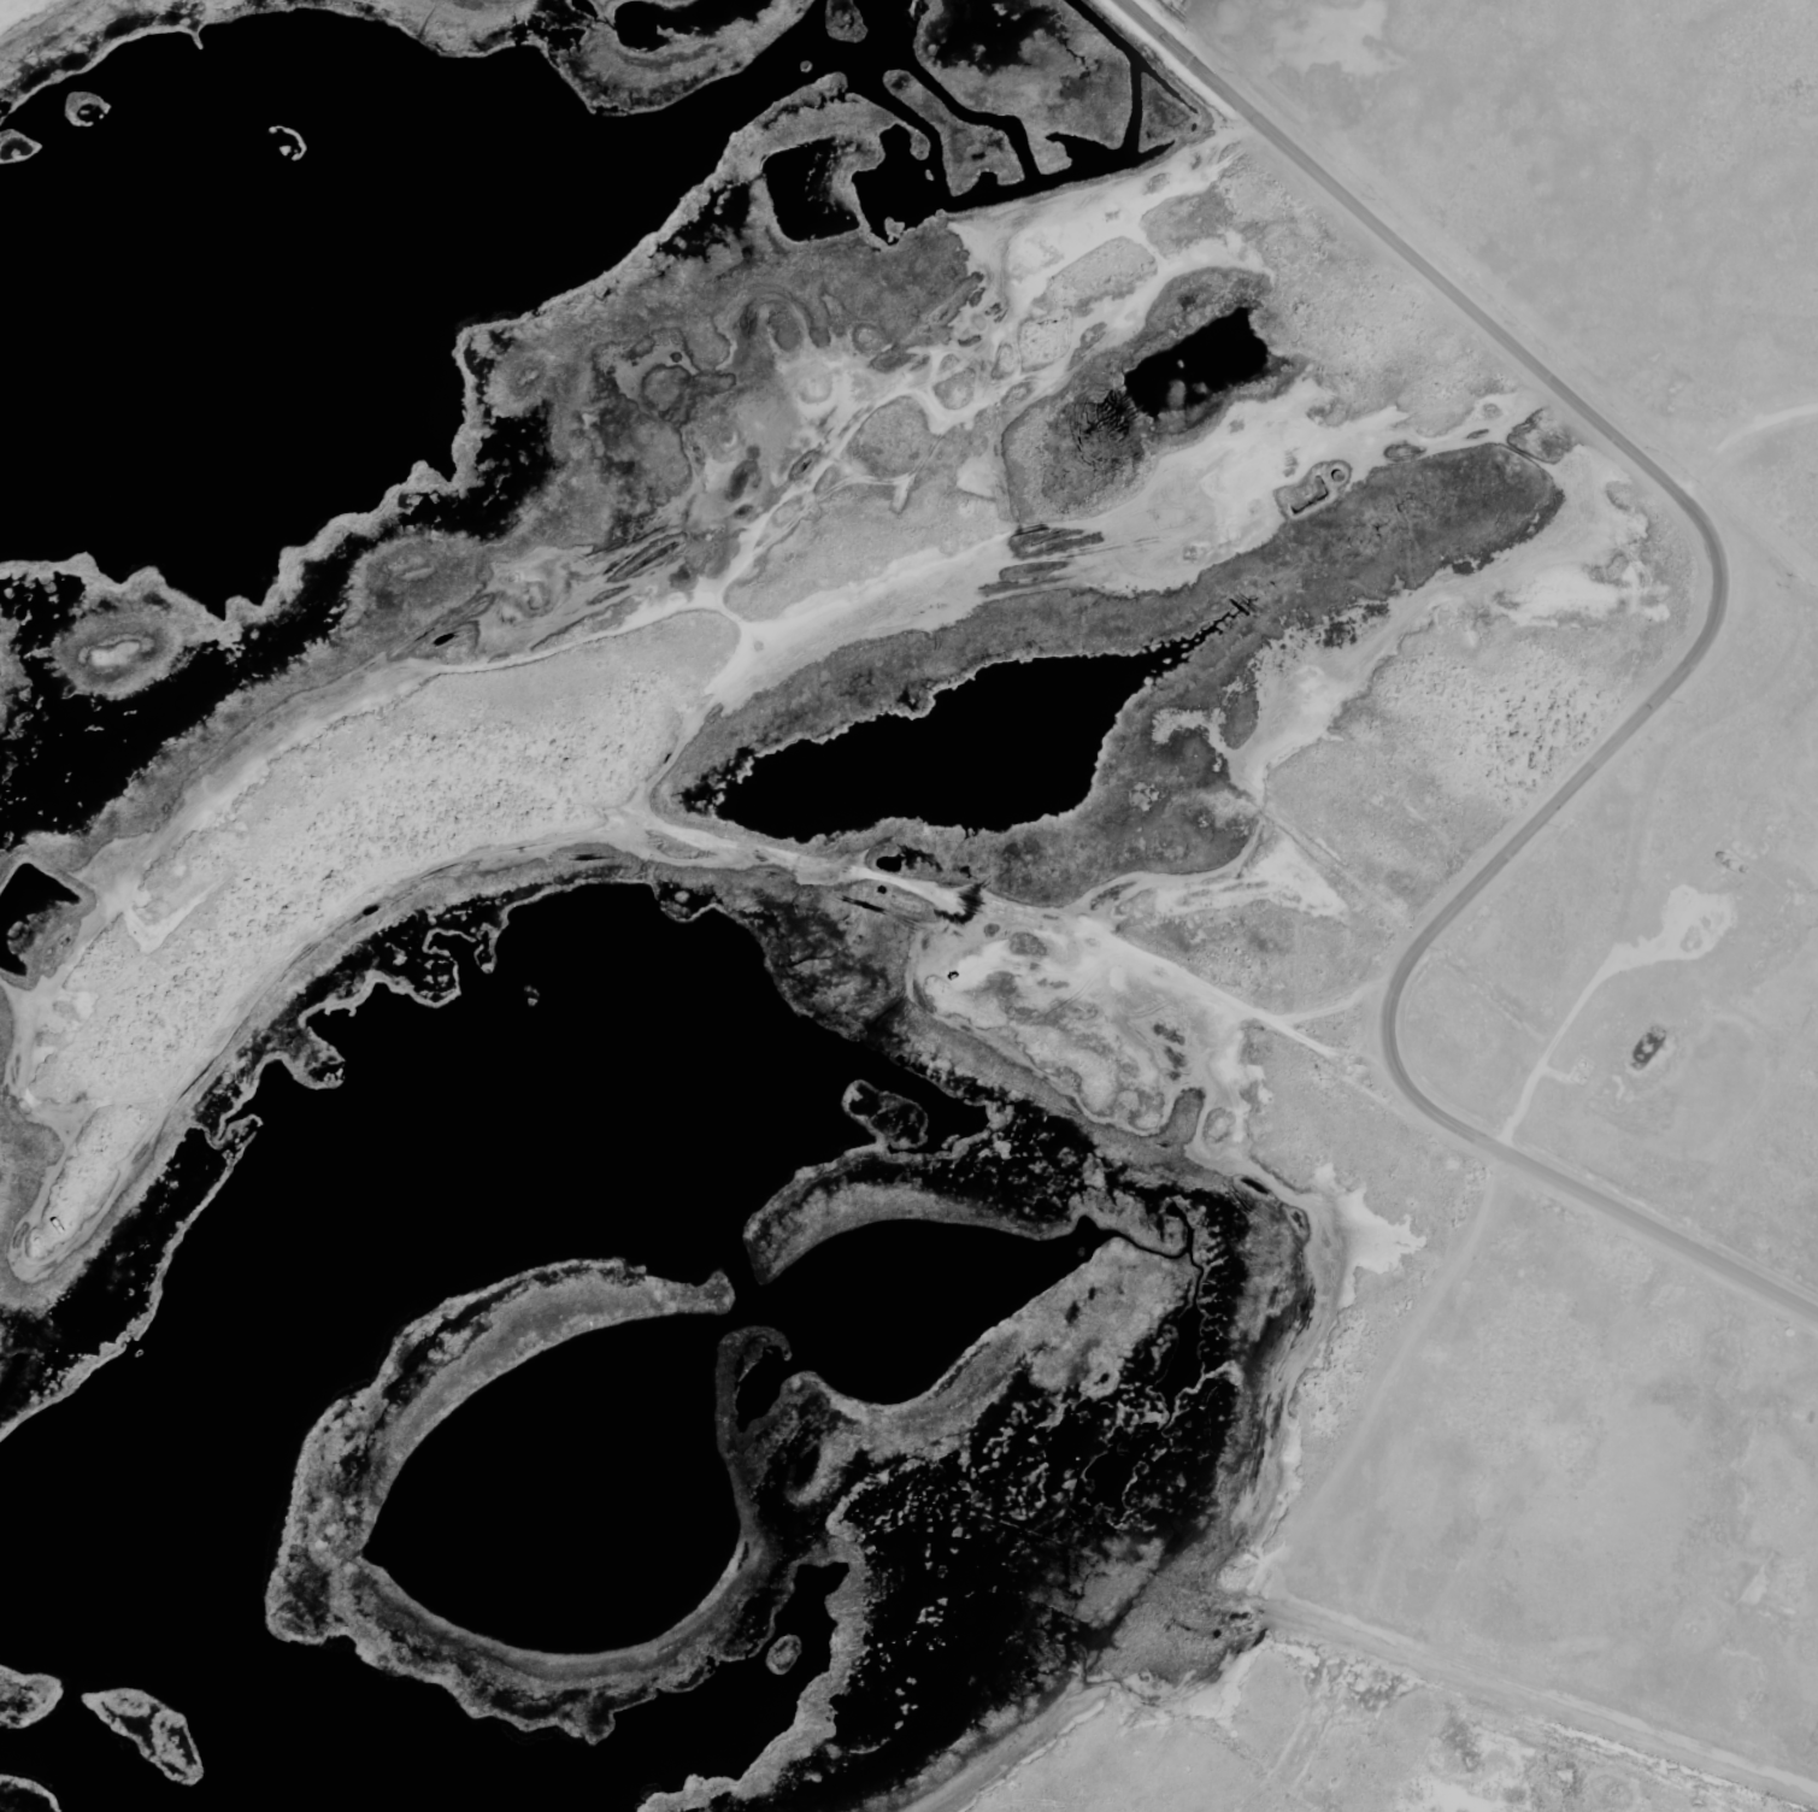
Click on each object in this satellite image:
road: (1654, 696)

